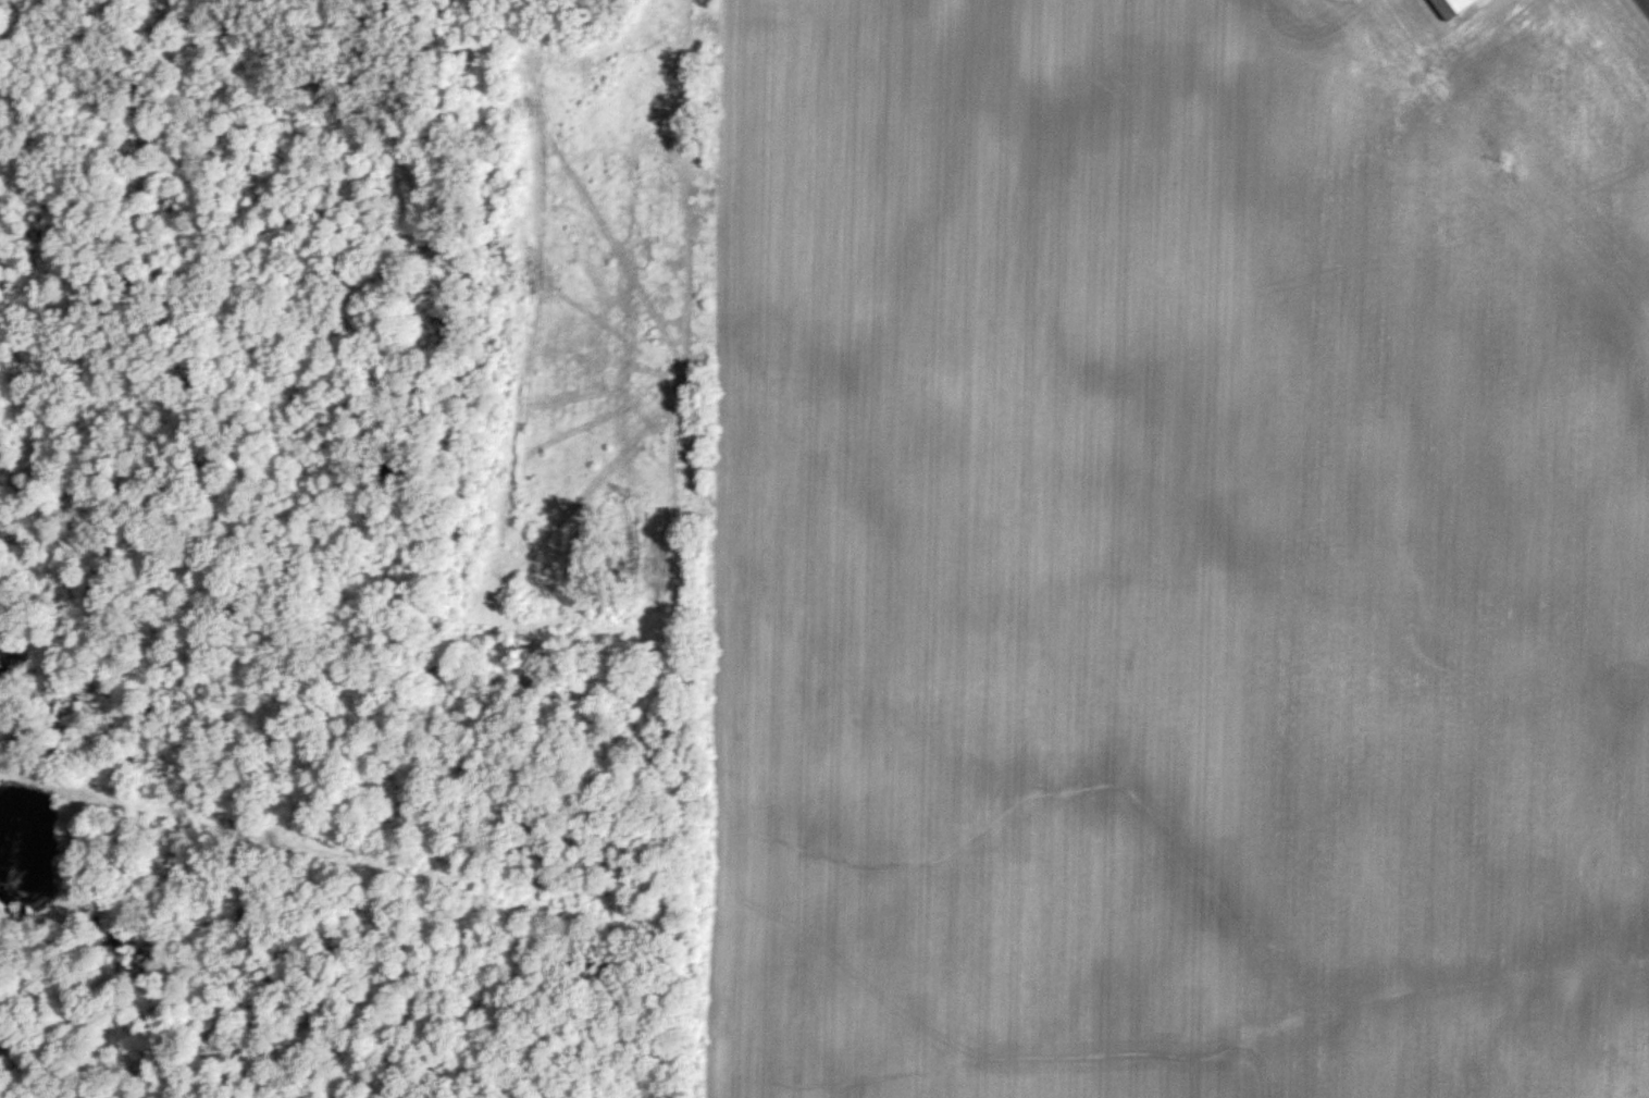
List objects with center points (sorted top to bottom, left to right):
road: (1646, 3)
building: (1448, 8)

